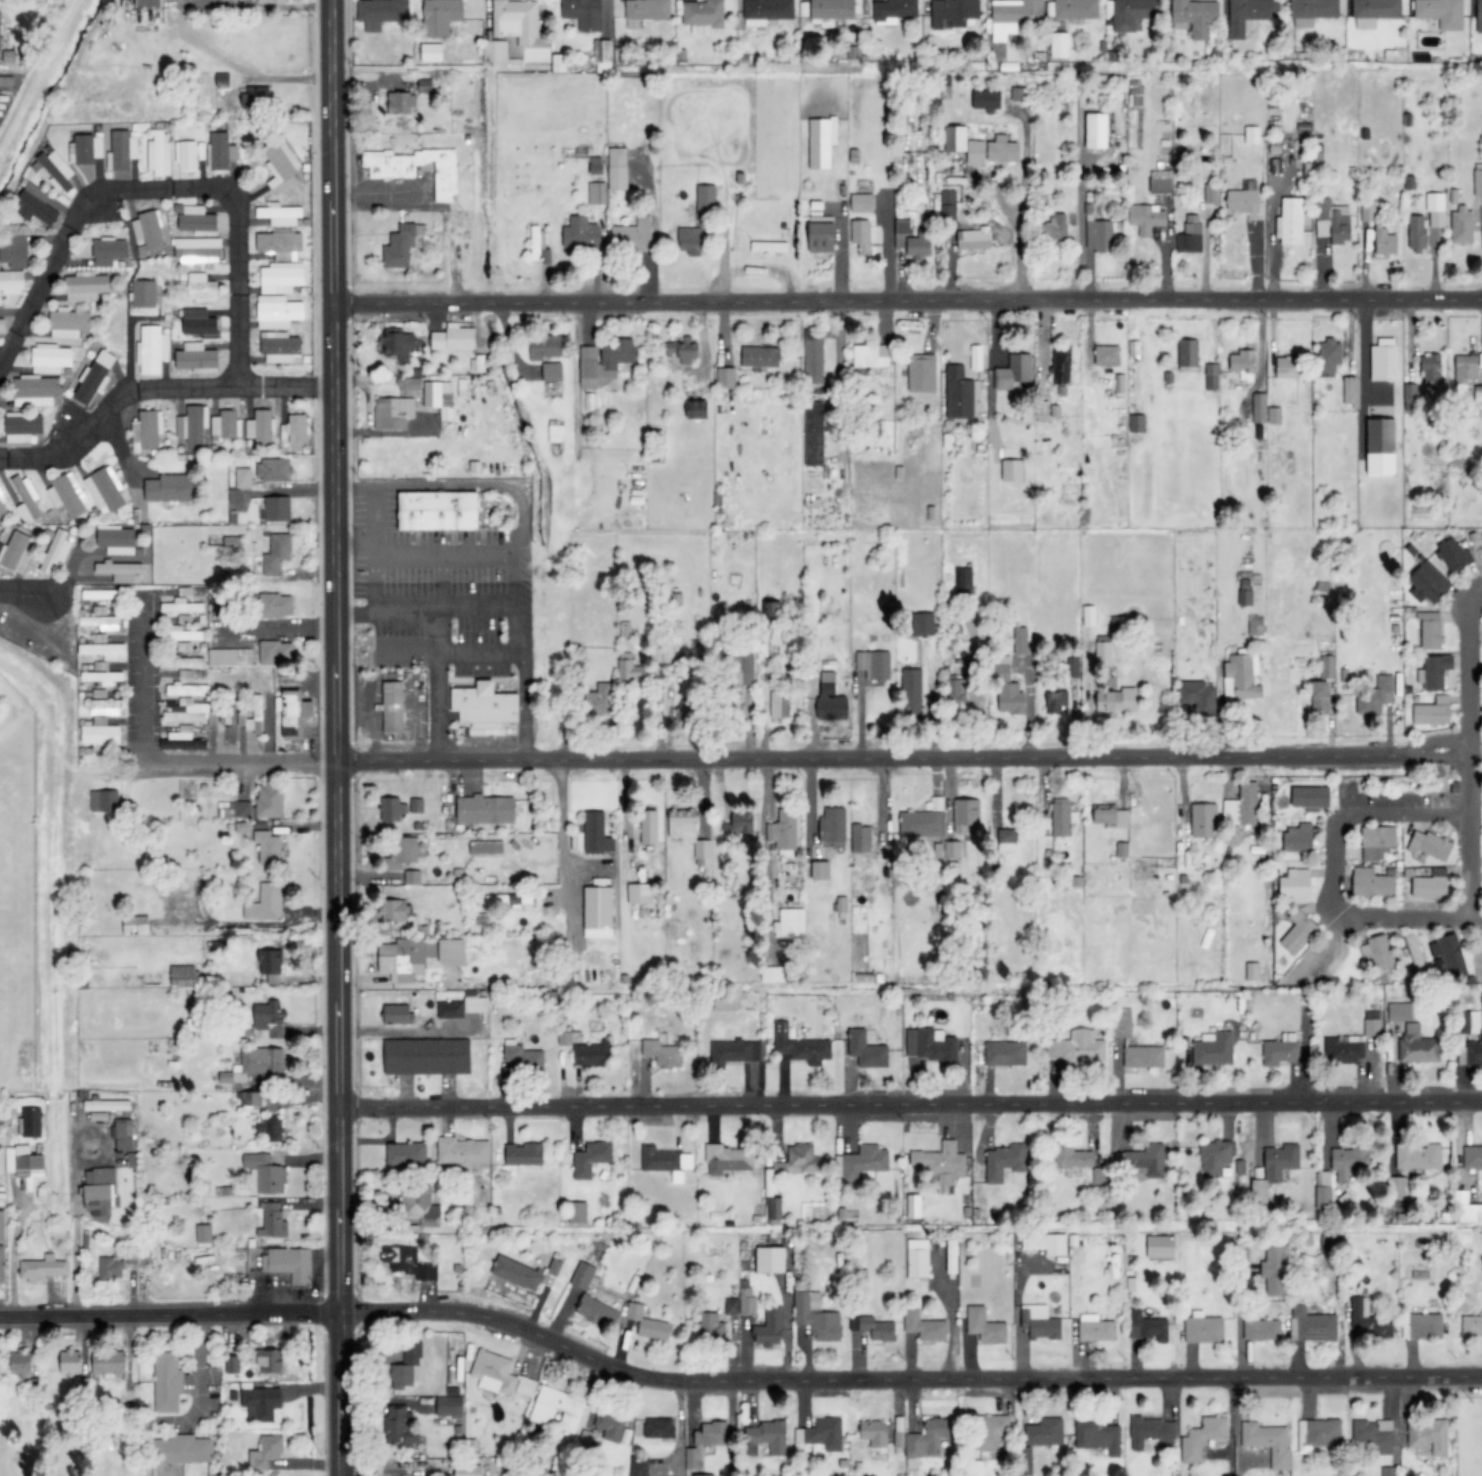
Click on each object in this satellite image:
building: (270, 1)
building: (148, 3)
building: (646, 9)
building: (832, 9)
building: (1075, 9)
building: (893, 11)
building: (1374, 12)
building: (379, 13)
building: (952, 13)
building: (1130, 13)
building: (1441, 13)
building: (584, 14)
building: (1248, 14)
building: (441, 16)
building: (703, 16)
building: (1195, 16)
building: (1479, 16)
building: (1012, 17)
building: (516, 20)
building: (0, 38)
building: (1058, 45)
building: (494, 52)
building: (431, 53)
building: (603, 56)
building: (558, 63)
building: (1134, 93)
building: (1018, 94)
building: (252, 98)
building: (986, 99)
building: (400, 103)
building: (1097, 131)
building: (1251, 135)
building: (821, 142)
building: (981, 146)
building: (121, 150)
building: (220, 151)
building: (158, 153)
building: (188, 155)
building: (280, 162)
building: (56, 169)
building: (617, 169)
building: (391, 172)
building: (1477, 179)
building: (1160, 182)
road: (159, 189)
road: (378, 193)
building: (596, 193)
building: (1209, 194)
building: (705, 199)
building: (1243, 199)
building: (861, 203)
building: (946, 204)
building: (35, 206)
building: (1433, 209)
building: (1367, 211)
building: (281, 215)
building: (1146, 218)
building: (1332, 221)
building: (1291, 222)
building: (1460, 225)
building: (1057, 226)
building: (146, 232)
building: (901, 232)
building: (1415, 233)
building: (581, 234)
building: (632, 235)
building: (1189, 235)
building: (860, 236)
building: (1098, 236)
building: (823, 237)
building: (975, 239)
building: (535, 241)
building: (690, 241)
building: (1383, 242)
building: (280, 244)
building: (919, 245)
building: (400, 246)
building: (769, 247)
building: (14, 250)
building: (198, 250)
building: (108, 251)
building: (280, 278)
building: (12, 283)
building: (86, 287)
building: (201, 289)
building: (143, 294)
road: (905, 302)
building: (278, 312)
building: (198, 322)
building: (2, 324)
building: (67, 324)
building: (454, 338)
building: (401, 346)
building: (278, 347)
building: (544, 347)
building: (151, 349)
building: (683, 350)
building: (618, 353)
building: (1188, 353)
building: (1327, 355)
building: (871, 356)
building: (1107, 356)
building: (759, 357)
building: (50, 358)
building: (197, 358)
building: (975, 358)
building: (1383, 360)
building: (812, 361)
building: (1061, 365)
building: (1242, 365)
building: (588, 367)
building: (1285, 367)
building: (1431, 367)
building: (1465, 369)
building: (552, 372)
building: (921, 373)
building: (1014, 373)
building: (93, 377)
building: (1211, 377)
building: (725, 378)
building: (412, 381)
road: (152, 388)
building: (1477, 389)
building: (1348, 390)
building: (36, 391)
building: (957, 394)
building: (1408, 396)
building: (438, 398)
building: (587, 401)
building: (1258, 408)
building: (698, 409)
building: (392, 414)
building: (1273, 415)
building: (191, 424)
building: (1137, 424)
building: (23, 427)
building: (146, 430)
building: (294, 430)
building: (555, 432)
building: (813, 433)
building: (1382, 447)
building: (273, 469)
building: (1012, 470)
building: (242, 478)
building: (170, 488)
building: (104, 491)
building: (65, 496)
building: (24, 499)
building: (2, 508)
building: (276, 509)
building: (438, 511)
building: (115, 540)
building: (1479, 546)
building: (55, 550)
building: (15, 551)
building: (277, 554)
building: (1453, 554)
building: (120, 572)
building: (963, 583)
building: (1429, 583)
road: (22, 592)
building: (1245, 592)
building: (99, 594)
building: (180, 606)
building: (276, 606)
building: (771, 612)
building: (1088, 616)
building: (183, 619)
building: (926, 621)
building: (100, 622)
building: (1118, 624)
building: (1430, 631)
building: (182, 634)
building: (1020, 641)
building: (102, 650)
building: (1102, 650)
building: (275, 653)
building: (664, 654)
building: (229, 657)
building: (184, 662)
building: (875, 665)
building: (744, 668)
building: (1327, 668)
building: (628, 669)
building: (1434, 672)
building: (102, 677)
building: (1241, 679)
building: (910, 684)
building: (186, 690)
building: (953, 691)
building: (1008, 693)
building: (1197, 696)
building: (1375, 697)
building: (1321, 698)
building: (600, 700)
building: (1117, 701)
building: (1055, 702)
building: (830, 703)
building: (778, 705)
building: (485, 706)
building: (392, 707)
building: (690, 709)
building: (1432, 712)
building: (294, 713)
building: (251, 716)
building: (100, 735)
road: (336, 737)
road: (1466, 757)
road: (720, 761)
building: (1310, 797)
building: (270, 800)
building: (103, 801)
building: (416, 806)
building: (1242, 807)
building: (238, 810)
building: (392, 810)
building: (486, 810)
building: (965, 814)
building: (1110, 816)
building: (1062, 818)
building: (1203, 821)
building: (741, 823)
building: (832, 825)
building: (648, 828)
building: (783, 830)
building: (596, 834)
building: (688, 834)
building: (1004, 836)
building: (860, 837)
building: (1298, 839)
building: (1377, 842)
building: (1429, 846)
building: (486, 847)
building: (268, 848)
building: (1120, 849)
building: (403, 850)
road: (1334, 868)
building: (821, 871)
building: (412, 878)
building: (1294, 883)
building: (1371, 883)
building: (1429, 883)
building: (83, 885)
building: (639, 894)
building: (508, 900)
building: (265, 903)
building: (840, 905)
building: (395, 911)
building: (598, 912)
building: (792, 923)
building: (135, 926)
building: (1298, 931)
building: (1378, 952)
building: (453, 953)
building: (1448, 955)
building: (1415, 957)
building: (409, 960)
building: (271, 966)
building: (1251, 972)
building: (773, 974)
building: (183, 975)
building: (728, 1001)
building: (474, 1003)
building: (449, 1010)
building: (1400, 1012)
building: (267, 1014)
building: (397, 1015)
building: (1371, 1024)
building: (564, 1039)
building: (1134, 1043)
building: (931, 1045)
building: (799, 1046)
building: (1417, 1046)
building: (1077, 1048)
building: (1346, 1049)
building: (1213, 1050)
building: (734, 1051)
building: (866, 1051)
building: (1280, 1051)
building: (1475, 1051)
building: (662, 1054)
building: (1005, 1054)
building: (593, 1055)
building: (427, 1056)
building: (523, 1057)
building: (261, 1060)
building: (250, 1098)
building: (105, 1105)
road: (910, 1105)
building: (29, 1122)
building: (269, 1128)
building: (123, 1134)
building: (463, 1152)
building: (405, 1154)
building: (524, 1154)
building: (1072, 1156)
building: (1418, 1156)
building: (1472, 1157)
building: (590, 1158)
building: (728, 1159)
building: (1144, 1159)
building: (24, 1162)
building: (666, 1162)
building: (860, 1162)
building: (940, 1162)
building: (1004, 1162)
building: (1347, 1162)
building: (793, 1164)
building: (1221, 1164)
building: (1274, 1167)
building: (264, 1173)
building: (99, 1192)
building: (1322, 1197)
building: (914, 1206)
building: (420, 1207)
building: (773, 1211)
building: (577, 1212)
building: (1469, 1212)
building: (271, 1221)
building: (2, 1225)
building: (203, 1233)
building: (1327, 1240)
building: (1045, 1243)
building: (1161, 1246)
building: (132, 1256)
building: (918, 1258)
building: (771, 1259)
building: (2, 1263)
building: (288, 1263)
building: (406, 1263)
building: (554, 1267)
building: (42, 1268)
building: (110, 1268)
building: (1274, 1269)
building: (517, 1273)
building: (581, 1275)
building: (746, 1298)
building: (731, 1306)
building: (593, 1310)
building: (815, 1316)
building: (1039, 1322)
building: (647, 1324)
building: (710, 1325)
building: (1312, 1325)
building: (924, 1326)
building: (985, 1326)
building: (1423, 1326)
building: (1471, 1326)
building: (770, 1327)
building: (872, 1327)
building: (1146, 1327)
building: (1095, 1328)
building: (1203, 1328)
building: (1261, 1329)
building: (267, 1359)
building: (21, 1362)
building: (69, 1362)
building: (108, 1363)
building: (231, 1364)
building: (407, 1366)
building: (494, 1372)
building: (166, 1382)
road: (734, 1382)
building: (526, 1386)
building: (261, 1404)
building: (449, 1406)
building: (557, 1408)
building: (611, 1425)
building: (400, 1428)
building: (658, 1428)
building: (1045, 1431)
building: (993, 1432)
building: (1151, 1432)
building: (1319, 1432)
building: (874, 1433)
building: (824, 1435)
building: (1096, 1435)
building: (1373, 1435)
building: (1429, 1435)
building: (769, 1436)
building: (927, 1438)
building: (1202, 1438)
building: (704, 1442)
building: (1267, 1442)
building: (271, 1446)
building: (181, 1449)
building: (638, 1466)
building: (468, 1470)
building: (1386, 1471)
building: (705, 1475)

